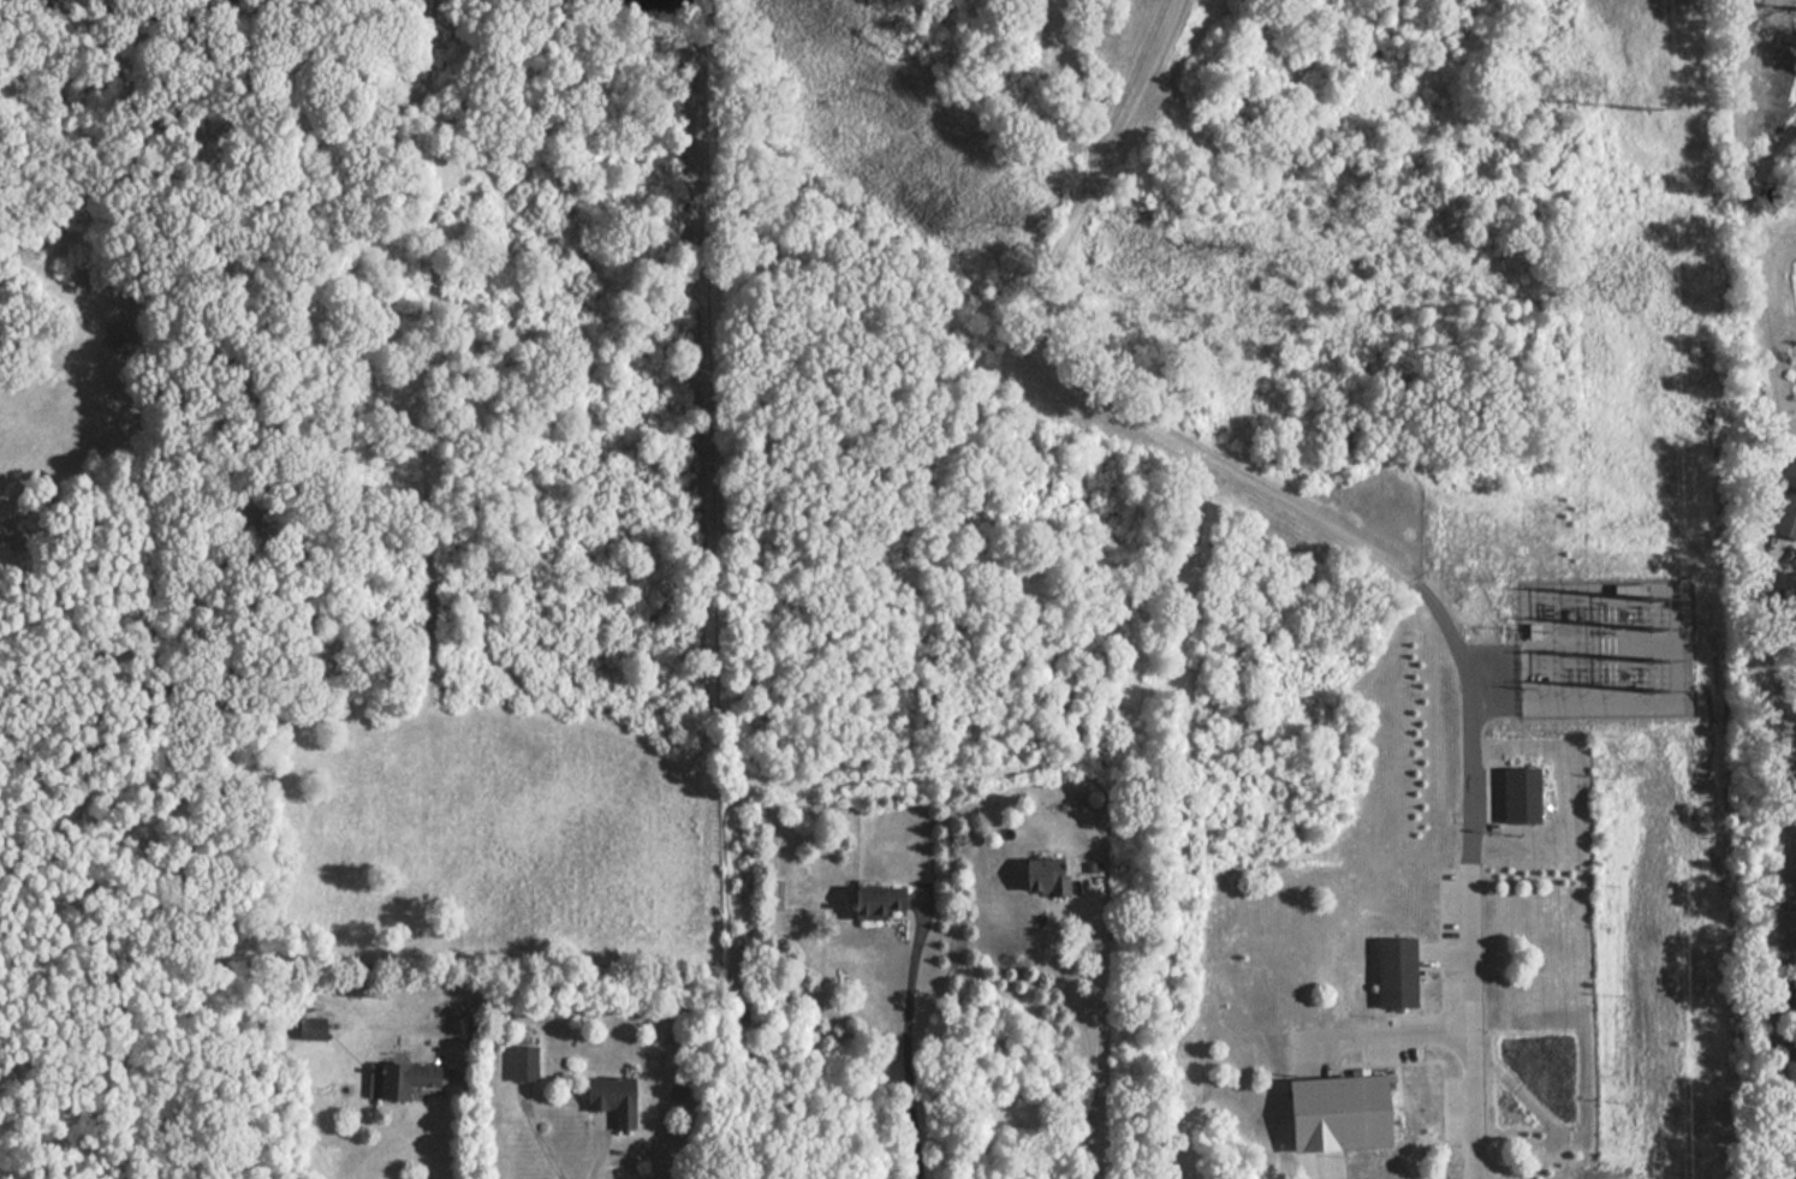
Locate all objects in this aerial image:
power tower: (1646, 112)
road: (1059, 368)
wastewater plant: (1171, 462)
building: (1788, 516)
power tower: (1653, 602)
power tower: (1654, 631)
power substation: (1606, 650)
power tower: (1654, 663)
power tower: (1655, 692)
road: (1474, 708)
building: (1523, 798)
building: (1092, 868)
building: (1048, 875)
road: (1087, 891)
road: (924, 895)
building: (880, 899)
parking lot: (1459, 906)
road: (1071, 909)
building: (1399, 976)
road: (1475, 1020)
road: (450, 1023)
road: (417, 1028)
building: (314, 1029)
road: (909, 1032)
road: (1380, 1038)
parking lot: (1397, 1049)
road: (1095, 1056)
building: (525, 1062)
building: (408, 1078)
road: (525, 1091)
building: (614, 1098)
road: (469, 1115)
building: (1342, 1115)
road: (602, 1119)
road: (1099, 1120)
road: (539, 1139)
road: (600, 1155)
road: (1324, 1166)

